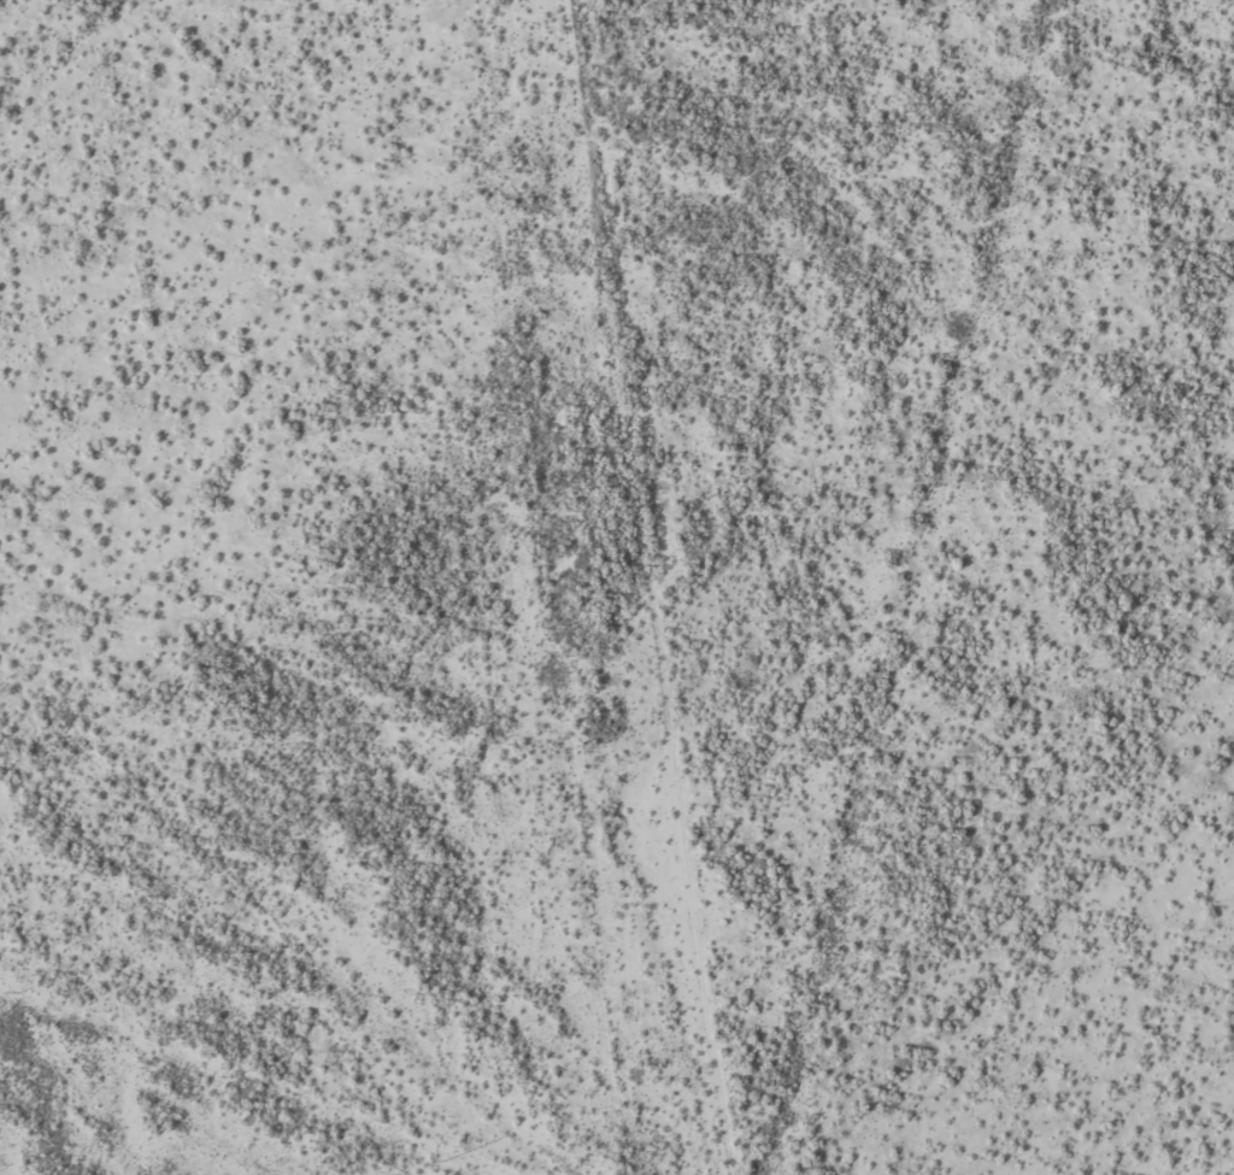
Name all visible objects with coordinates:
road: (1045, 166)
power tower: (19, 993)
power tower: (231, 1077)
power tower: (446, 1162)

